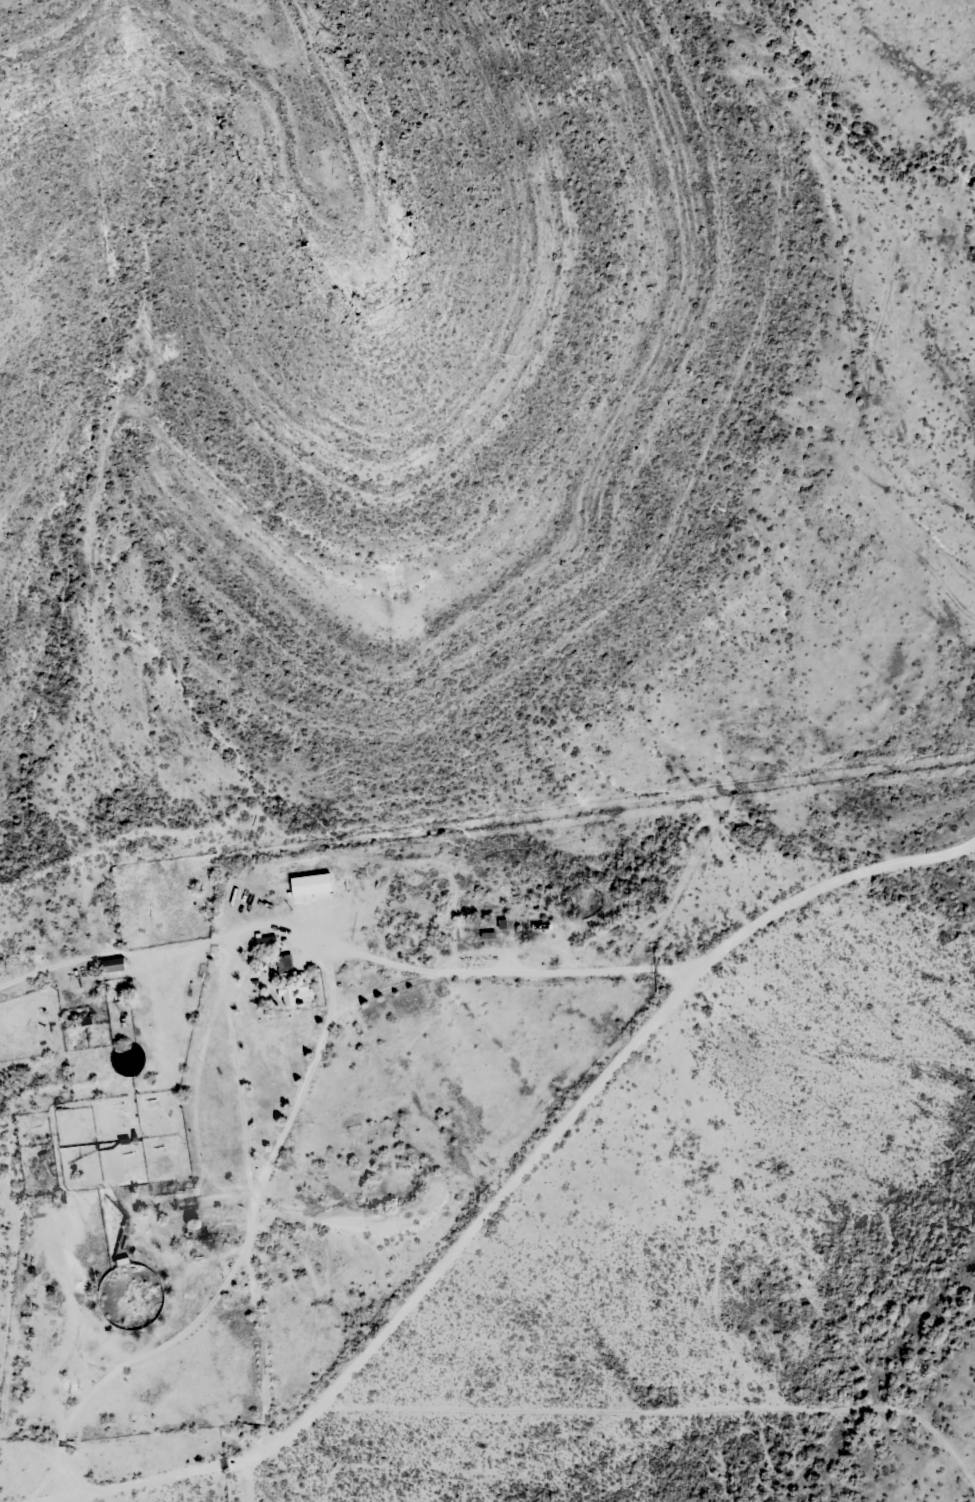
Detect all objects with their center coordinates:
building: (111, 962)
building: (284, 977)
road: (415, 1021)
building: (219, 1221)
road: (464, 1231)

